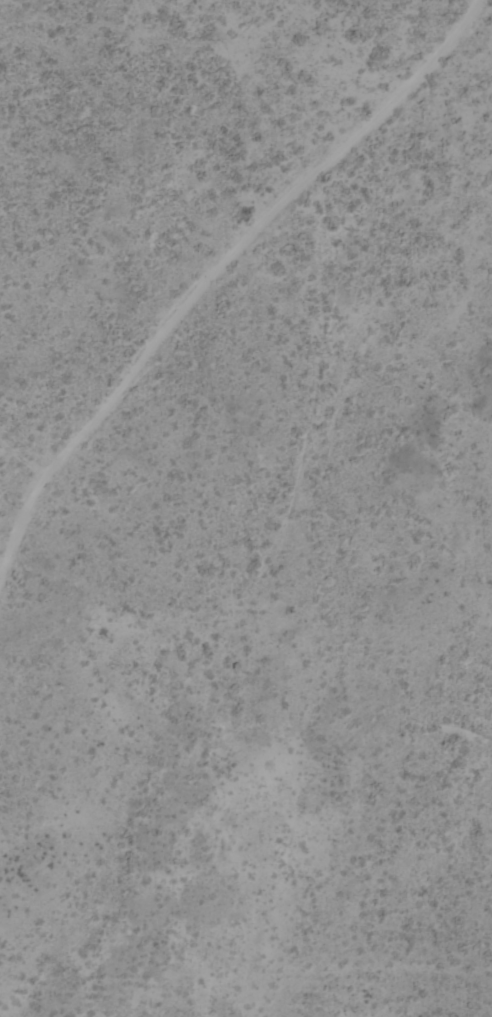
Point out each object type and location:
road: (226, 289)

